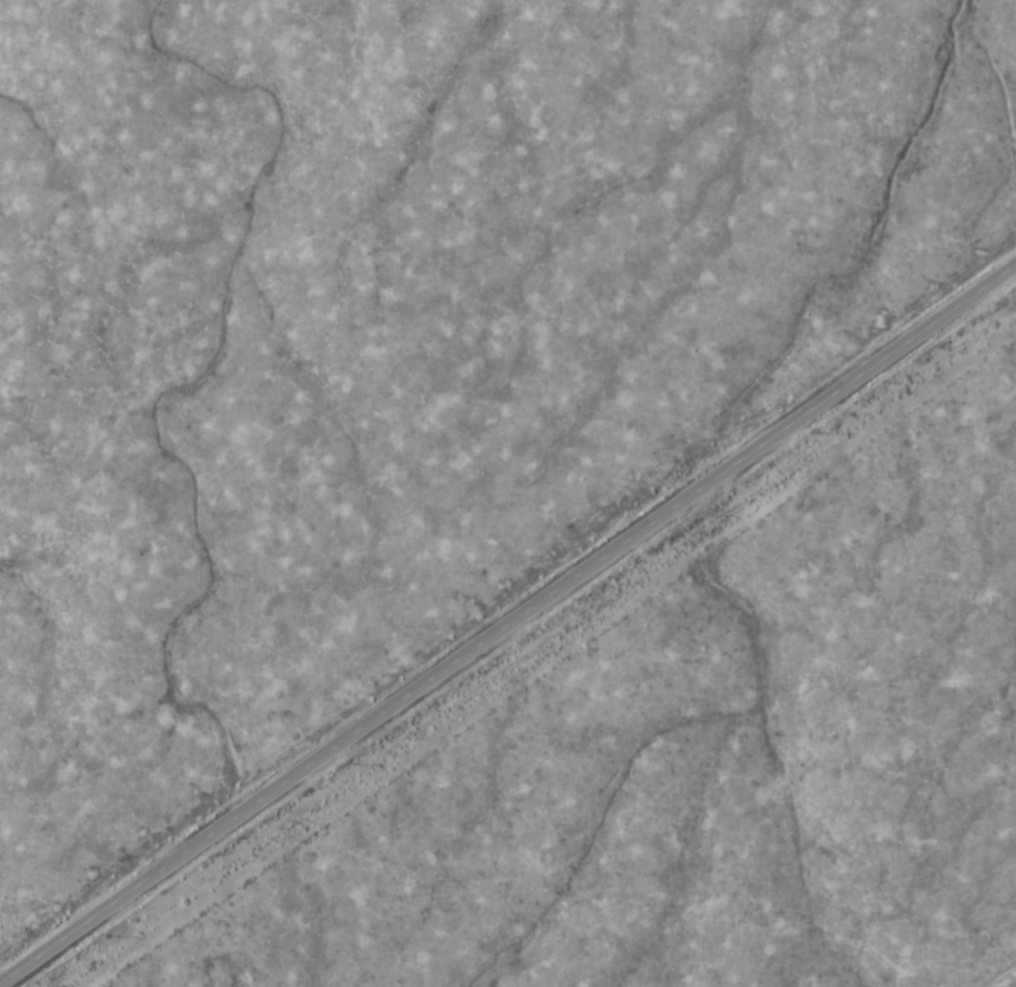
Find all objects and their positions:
road: (508, 624)
road: (1008, 981)

